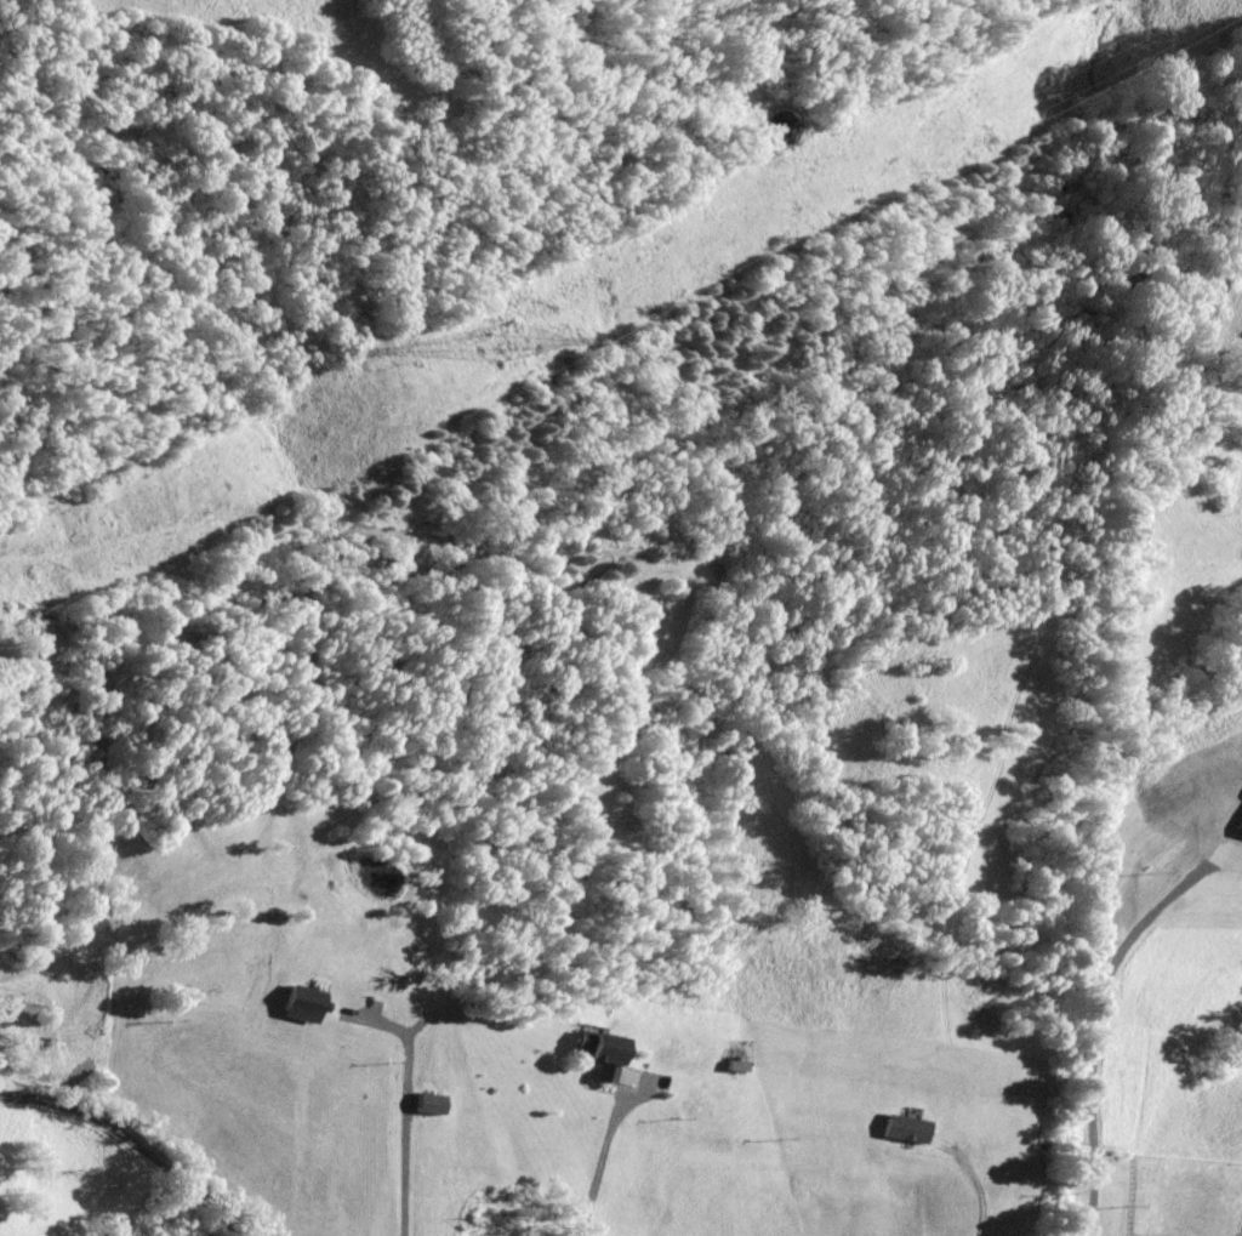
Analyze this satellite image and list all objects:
power tower: (518, 338)
building: (1240, 825)
building: (301, 1003)
road: (1096, 1031)
building: (596, 1054)
building: (625, 1076)
building: (427, 1103)
road: (406, 1104)
building: (904, 1128)
road: (137, 1141)
road: (598, 1167)
road: (990, 1185)

